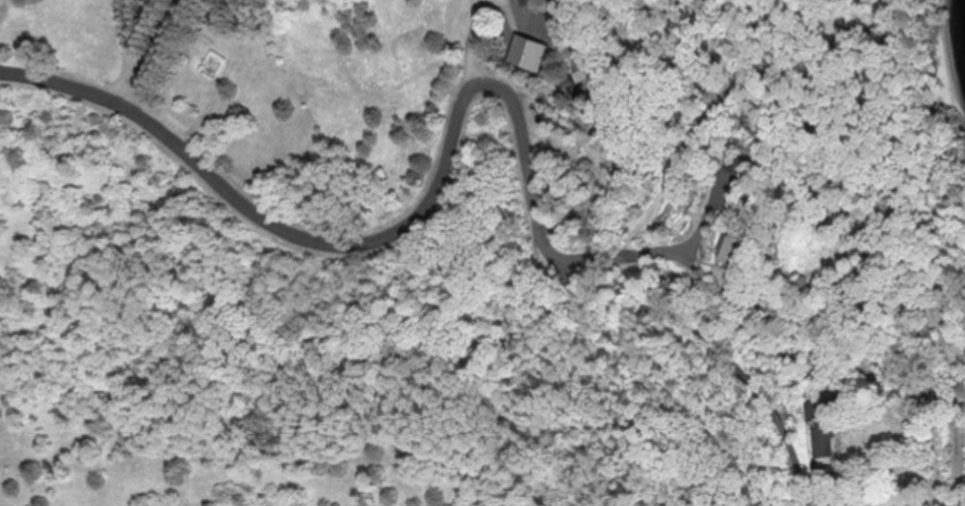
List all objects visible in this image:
road: (477, 38)
road: (120, 41)
road: (147, 51)
road: (677, 134)
road: (396, 228)
building: (740, 251)
road: (651, 252)
road: (716, 341)
building: (825, 436)

